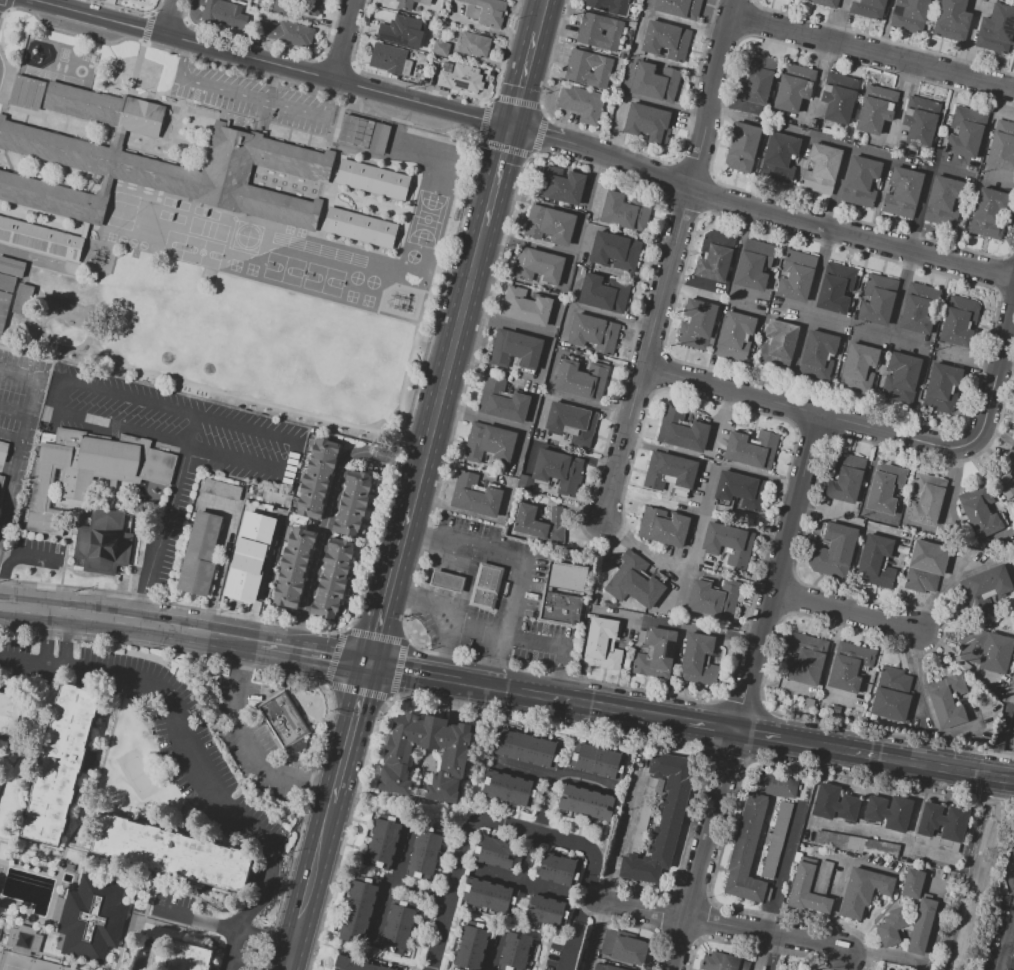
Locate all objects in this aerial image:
building: (143, 0)
building: (246, 0)
building: (626, 0)
building: (137, 1)
building: (826, 2)
building: (410, 4)
road: (7, 5)
building: (607, 5)
building: (311, 6)
building: (679, 8)
building: (867, 8)
road: (130, 10)
building: (491, 12)
building: (909, 15)
road: (539, 16)
road: (167, 17)
road: (170, 17)
building: (221, 17)
road: (745, 18)
building: (952, 20)
building: (601, 24)
road: (146, 27)
road: (78, 28)
building: (400, 30)
building: (996, 30)
building: (287, 32)
road: (725, 33)
road: (342, 38)
road: (881, 38)
building: (597, 39)
building: (666, 41)
building: (474, 44)
road: (270, 46)
building: (441, 49)
road: (871, 51)
building: (387, 58)
road: (275, 61)
building: (590, 61)
road: (336, 62)
track: (53, 75)
building: (585, 76)
building: (458, 79)
road: (523, 79)
building: (755, 80)
building: (654, 82)
building: (793, 88)
road: (438, 92)
building: (27, 93)
road: (708, 93)
road: (253, 96)
building: (839, 97)
building: (568, 98)
road: (516, 100)
building: (589, 107)
building: (875, 110)
building: (920, 121)
road: (719, 122)
building: (649, 123)
building: (826, 125)
traffic signals: (512, 128)
building: (354, 131)
building: (965, 133)
road: (539, 136)
building: (378, 138)
road: (507, 147)
building: (1002, 147)
building: (743, 148)
road: (631, 149)
road: (601, 157)
building: (780, 157)
road: (889, 157)
road: (689, 169)
building: (822, 169)
building: (146, 170)
road: (499, 176)
road: (662, 176)
building: (374, 179)
building: (861, 181)
building: (559, 184)
building: (903, 193)
building: (943, 193)
road: (706, 194)
park: (175, 203)
park: (123, 206)
road: (683, 207)
building: (626, 211)
park: (205, 212)
building: (990, 213)
park: (121, 214)
park: (171, 216)
park: (426, 218)
building: (547, 224)
park: (207, 228)
building: (360, 228)
road: (851, 233)
park: (245, 237)
park: (173, 245)
track: (318, 249)
building: (615, 250)
park: (200, 252)
road: (1010, 255)
park: (412, 256)
building: (716, 257)
building: (535, 264)
building: (754, 265)
building: (11, 266)
park: (283, 268)
road: (818, 269)
road: (1001, 273)
building: (796, 276)
park: (355, 277)
road: (667, 277)
park: (323, 279)
road: (694, 281)
building: (6, 282)
park: (371, 282)
building: (835, 287)
road: (901, 293)
building: (604, 294)
road: (1005, 294)
building: (21, 298)
building: (878, 299)
building: (4, 306)
building: (523, 307)
building: (918, 309)
road: (825, 317)
building: (959, 321)
park: (147, 323)
building: (697, 326)
building: (592, 333)
building: (736, 336)
building: (781, 339)
building: (515, 348)
park: (242, 349)
road: (665, 350)
building: (818, 356)
road: (968, 356)
road: (997, 366)
road: (447, 367)
building: (859, 367)
building: (902, 376)
building: (581, 380)
building: (942, 388)
road: (35, 389)
road: (730, 390)
road: (57, 391)
building: (501, 401)
road: (800, 413)
road: (14, 415)
road: (833, 421)
building: (572, 422)
building: (681, 430)
road: (12, 434)
road: (900, 434)
road: (812, 435)
building: (1013, 440)
building: (488, 443)
road: (622, 443)
building: (752, 449)
building: (3, 451)
road: (295, 456)
road: (711, 463)
building: (558, 471)
building: (669, 471)
building: (1006, 475)
building: (1, 477)
building: (317, 477)
building: (846, 477)
building: (41, 483)
road: (11, 486)
building: (882, 487)
building: (86, 488)
building: (741, 490)
building: (473, 494)
building: (926, 499)
building: (351, 503)
building: (981, 510)
road: (331, 513)
road: (166, 521)
building: (540, 522)
building: (663, 526)
building: (108, 541)
building: (205, 542)
building: (729, 543)
building: (834, 551)
building: (252, 553)
road: (222, 558)
road: (688, 562)
building: (876, 562)
road: (763, 563)
road: (520, 564)
building: (925, 567)
building: (294, 568)
road: (777, 570)
building: (565, 577)
building: (332, 578)
building: (444, 580)
gas station: (444, 580)
building: (634, 581)
building: (990, 582)
building: (484, 585)
road: (390, 586)
road: (942, 592)
building: (715, 599)
building: (559, 605)
road: (848, 610)
road: (449, 613)
road: (936, 613)
road: (631, 617)
road: (479, 620)
road: (130, 626)
road: (376, 633)
road: (44, 640)
road: (65, 643)
building: (603, 644)
road: (286, 645)
road: (559, 646)
building: (987, 652)
building: (655, 653)
road: (334, 656)
road: (339, 657)
building: (699, 658)
building: (806, 658)
road: (242, 661)
road: (829, 662)
traffic signals: (369, 663)
building: (849, 666)
road: (398, 668)
road: (439, 675)
road: (356, 691)
road: (536, 692)
building: (892, 693)
building: (948, 700)
building: (809, 703)
road: (740, 705)
road: (625, 708)
building: (836, 709)
building: (12, 715)
building: (284, 719)
road: (561, 721)
road: (712, 723)
road: (761, 731)
road: (351, 733)
road: (251, 746)
building: (528, 746)
road: (198, 754)
building: (598, 757)
road: (899, 757)
building: (62, 765)
building: (396, 766)
road: (555, 775)
park: (140, 776)
building: (778, 785)
road: (321, 786)
building: (509, 789)
building: (587, 803)
building: (834, 804)
building: (643, 807)
building: (890, 812)
building: (662, 820)
building: (943, 821)
road: (538, 829)
road: (533, 832)
road: (900, 837)
building: (777, 839)
building: (382, 844)
building: (857, 844)
road: (706, 848)
road: (926, 850)
building: (166, 852)
building: (495, 852)
building: (747, 852)
building: (424, 854)
power tower: (995, 862)
building: (71, 867)
building: (559, 868)
road: (612, 868)
road: (314, 877)
building: (823, 877)
road: (393, 878)
road: (782, 880)
road: (521, 882)
building: (913, 884)
building: (807, 890)
building: (863, 890)
road: (422, 891)
road: (453, 892)
building: (489, 897)
building: (357, 909)
road: (583, 909)
building: (548, 912)
building: (94, 918)
road: (716, 922)
road: (198, 924)
building: (399, 925)
building: (892, 926)
building: (922, 926)
road: (938, 926)
building: (25, 941)
road: (1007, 942)
road: (269, 943)
parking lot: (1000, 945)
building: (624, 947)
building: (471, 948)
road: (494, 950)
building: (515, 952)
road: (777, 953)
road: (885, 955)
building: (188, 958)
road: (293, 960)
building: (720, 961)
park: (24, 963)
road: (257, 964)
building: (358, 964)
building: (605, 967)
road: (927, 967)

